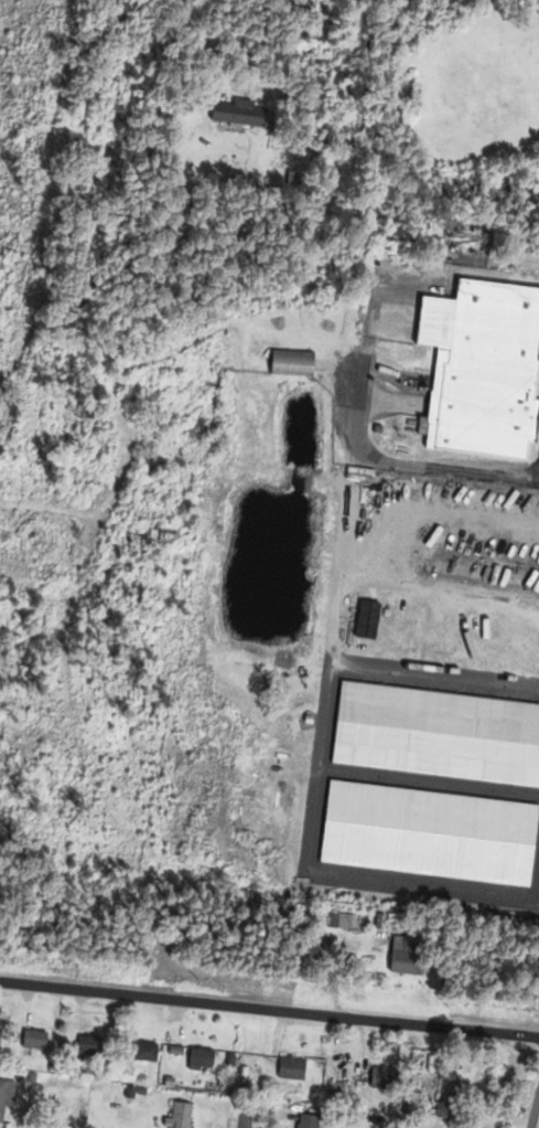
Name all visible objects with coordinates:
building: (235, 114)
building: (473, 237)
building: (287, 363)
building: (481, 365)
road: (338, 523)
road: (332, 606)
road: (317, 715)
building: (341, 923)
building: (401, 957)
road: (269, 1007)
building: (30, 1041)
building: (86, 1047)
building: (142, 1053)
building: (197, 1060)
building: (288, 1070)
building: (379, 1079)
building: (6, 1094)
road: (244, 1111)
building: (175, 1117)
road: (242, 1122)
building: (302, 1122)

